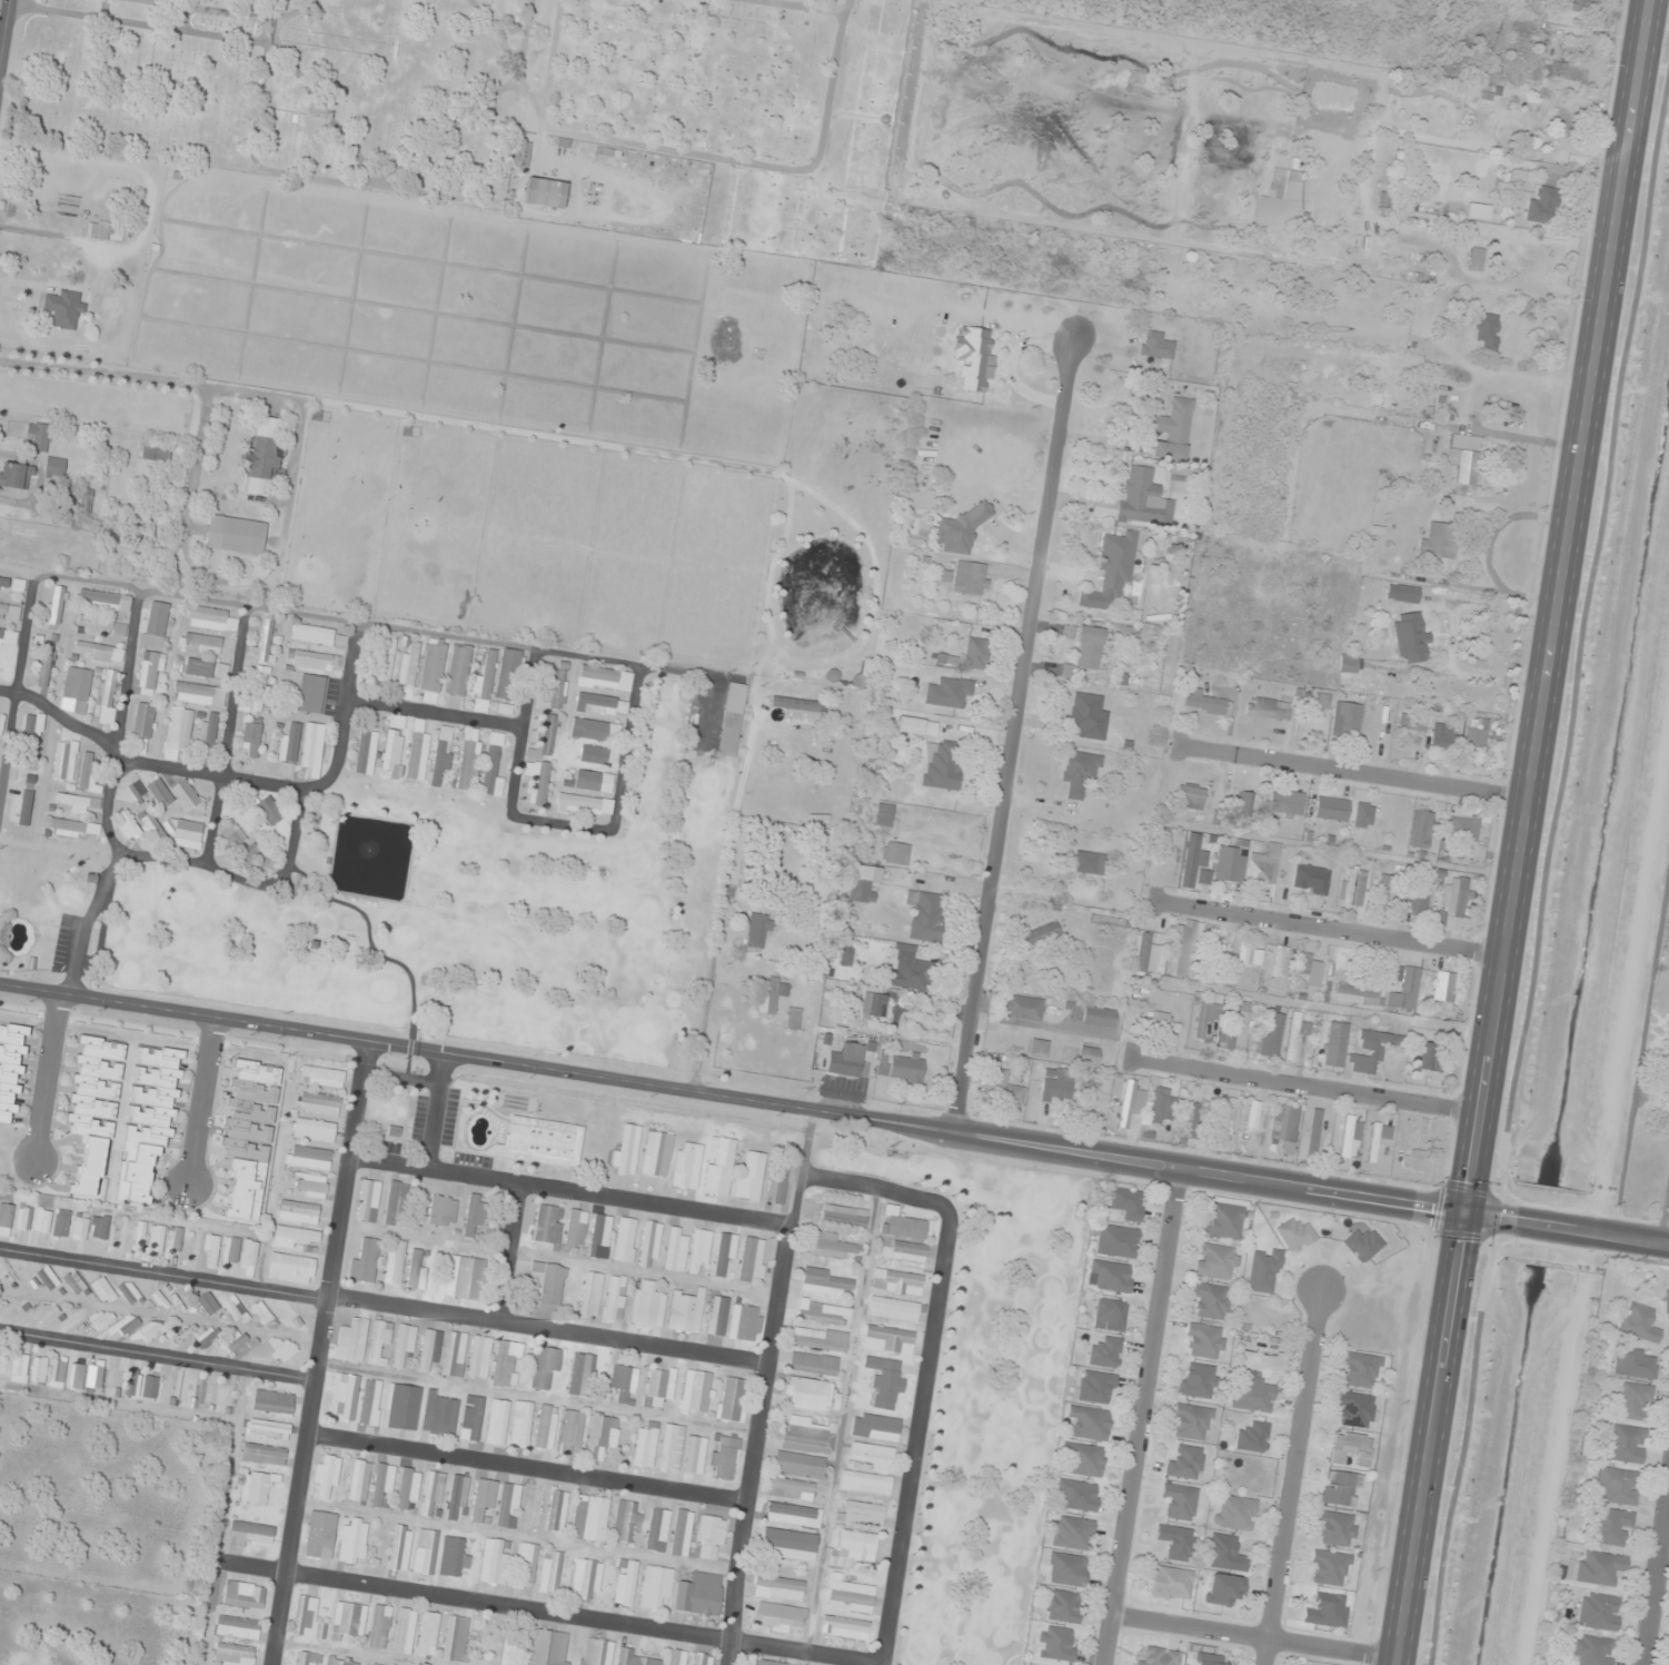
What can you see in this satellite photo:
building: (1582, 6)
road: (2, 17)
building: (1450, 69)
building: (1564, 71)
park: (497, 102)
building: (1276, 191)
building: (545, 194)
building: (1542, 206)
building: (1478, 211)
building: (97, 229)
building: (1476, 259)
building: (63, 309)
building: (1487, 331)
building: (1155, 345)
road: (1367, 418)
building: (1172, 430)
building: (40, 437)
building: (156, 452)
building: (262, 458)
building: (1463, 458)
building: (54, 467)
building: (16, 476)
building: (81, 499)
building: (1132, 501)
building: (961, 532)
building: (235, 536)
building: (1438, 544)
building: (1116, 564)
building: (970, 578)
building: (3, 584)
building: (1402, 593)
building: (109, 602)
building: (54, 605)
building: (9, 612)
building: (209, 618)
building: (155, 624)
building: (101, 626)
building: (1410, 634)
building: (312, 635)
building: (8, 637)
building: (202, 643)
building: (262, 644)
building: (1087, 646)
building: (98, 652)
building: (975, 653)
building: (385, 657)
building: (315, 661)
building: (44, 664)
building: (1348, 664)
building: (202, 668)
building: (408, 671)
building: (431, 672)
building: (150, 674)
building: (508, 675)
building: (457, 676)
building: (832, 676)
building: (604, 678)
building: (485, 681)
building: (77, 684)
building: (553, 690)
road: (22, 693)
building: (198, 694)
building: (257, 694)
building: (312, 694)
building: (948, 694)
building: (106, 697)
building: (1322, 701)
building: (1202, 702)
building: (600, 705)
building: (1266, 708)
building: (505, 710)
road: (365, 712)
building: (734, 712)
building: (1087, 716)
building: (1347, 718)
building: (1411, 721)
building: (142, 727)
building: (595, 731)
building: (178, 732)
building: (32, 733)
road: (1011, 733)
building: (544, 736)
building: (1442, 736)
building: (251, 737)
building: (1474, 737)
building: (206, 739)
building: (311, 749)
building: (391, 750)
building: (289, 752)
building: (366, 752)
building: (417, 753)
building: (598, 755)
road: (237, 756)
building: (441, 756)
road: (543, 757)
building: (873, 757)
building: (468, 760)
building: (63, 761)
building: (491, 766)
building: (1079, 771)
road: (1353, 772)
building: (87, 776)
road: (163, 779)
road: (441, 779)
building: (537, 781)
building: (594, 781)
road: (118, 793)
building: (131, 793)
building: (159, 793)
building: (186, 795)
building: (1189, 796)
building: (1286, 802)
building: (76, 803)
building: (584, 804)
building: (1245, 804)
building: (1331, 809)
building: (269, 811)
building: (884, 814)
building: (1362, 815)
building: (71, 827)
building: (140, 827)
building: (1462, 827)
building: (1420, 830)
road: (1521, 833)
building: (187, 834)
road: (660, 842)
building: (238, 845)
building: (895, 853)
building: (1192, 861)
building: (1089, 862)
building: (1230, 864)
building: (1264, 866)
building: (1310, 879)
road: (241, 882)
building: (861, 885)
building: (1353, 885)
building: (1385, 890)
building: (1420, 896)
building: (1458, 896)
park: (465, 913)
building: (925, 916)
road: (1329, 928)
building: (757, 931)
building: (1039, 935)
building: (1151, 943)
building: (1182, 948)
building: (1249, 954)
building: (1280, 961)
building: (908, 969)
building: (1311, 971)
building: (1443, 987)
building: (1405, 991)
building: (775, 992)
building: (1358, 993)
building: (872, 1004)
building: (1023, 1008)
building: (1097, 1017)
building: (1206, 1017)
building: (793, 1018)
building: (1164, 1024)
building: (1238, 1033)
building: (1272, 1034)
building: (1295, 1034)
building: (1335, 1044)
building: (1039, 1048)
road: (1640, 1050)
building: (1371, 1051)
building: (1089, 1056)
building: (1428, 1057)
building: (846, 1060)
building: (903, 1070)
road: (47, 1077)
building: (322, 1077)
building: (97, 1079)
road: (1307, 1082)
building: (1055, 1088)
building: (1006, 1090)
road: (754, 1099)
road: (203, 1101)
building: (1130, 1103)
building: (318, 1104)
building: (1160, 1106)
building: (1225, 1117)
building: (1188, 1120)
building: (1252, 1123)
building: (1285, 1126)
building: (314, 1130)
building: (1314, 1130)
building: (1351, 1133)
building: (1378, 1138)
building: (542, 1141)
building: (625, 1149)
building: (656, 1153)
building: (308, 1158)
building: (1412, 1160)
building: (686, 1166)
building: (718, 1166)
building: (749, 1175)
building: (779, 1178)
road: (867, 1185)
building: (310, 1186)
road: (567, 1189)
building: (368, 1201)
building: (396, 1203)
building: (1127, 1203)
building: (441, 1211)
road: (1663, 1212)
traffic signals: (1463, 1213)
building: (474, 1215)
building: (6, 1216)
building: (844, 1216)
building: (23, 1217)
building: (42, 1221)
building: (1222, 1221)
building: (61, 1223)
building: (904, 1226)
building: (99, 1228)
building: (547, 1228)
building: (80, 1229)
building: (576, 1229)
road: (1589, 1232)
building: (1294, 1235)
building: (296, 1237)
building: (599, 1237)
building: (140, 1238)
building: (156, 1238)
building: (173, 1240)
building: (625, 1240)
building: (1117, 1241)
building: (649, 1242)
building: (1362, 1245)
building: (833, 1246)
building: (676, 1249)
building: (210, 1250)
building: (230, 1250)
road: (508, 1250)
building: (699, 1251)
building: (724, 1255)
building: (907, 1255)
building: (248, 1257)
building: (366, 1260)
building: (752, 1260)
building: (1216, 1261)
building: (395, 1262)
building: (291, 1268)
building: (416, 1269)
building: (1263, 1270)
building: (465, 1277)
building: (1110, 1277)
building: (47, 1278)
building: (547, 1282)
building: (825, 1282)
building: (898, 1284)
building: (102, 1290)
building: (129, 1292)
building: (592, 1294)
building: (615, 1298)
building: (1210, 1300)
road: (383, 1302)
building: (207, 1304)
building: (647, 1305)
building: (1667, 1305)
building: (234, 1308)
building: (893, 1309)
building: (686, 1311)
building: (261, 1312)
building: (823, 1314)
building: (1112, 1314)
building: (287, 1316)
building: (717, 1316)
building: (103, 1319)
building: (745, 1322)
building: (1639, 1322)
building: (127, 1324)
building: (150, 1331)
building: (185, 1334)
building: (818, 1339)
building: (235, 1340)
building: (888, 1340)
building: (351, 1341)
building: (1204, 1341)
building: (379, 1344)
building: (275, 1349)
building: (429, 1349)
road: (157, 1351)
road: (317, 1352)
building: (1105, 1354)
building: (454, 1355)
building: (479, 1357)
building: (506, 1364)
building: (813, 1364)
building: (1636, 1364)
building: (19, 1368)
building: (545, 1368)
building: (39, 1370)
building: (1360, 1370)
building: (57, 1374)
building: (85, 1377)
building: (1198, 1380)
building: (130, 1382)
building: (885, 1382)
building: (624, 1384)
road: (763, 1385)
building: (149, 1386)
building: (658, 1386)
building: (1096, 1387)
building: (695, 1393)
park: (984, 1393)
building: (807, 1394)
building: (1252, 1394)
building: (345, 1396)
building: (221, 1397)
building: (732, 1399)
building: (369, 1401)
building: (1635, 1401)
building: (272, 1403)
building: (401, 1407)
building: (1354, 1409)
building: (438, 1415)
road: (1143, 1416)
building: (471, 1418)
building: (497, 1421)
building: (1192, 1421)
building: (1087, 1423)
building: (520, 1424)
road: (840, 1426)
building: (546, 1427)
building: (875, 1427)
road: (916, 1427)
building: (268, 1429)
building: (570, 1434)
building: (602, 1436)
building: (807, 1436)
building: (1253, 1437)
building: (1627, 1444)
building: (646, 1445)
building: (670, 1448)
building: (1351, 1449)
building: (264, 1454)
building: (695, 1455)
building: (872, 1456)
building: (725, 1457)
building: (1082, 1459)
building: (1185, 1463)
building: (799, 1464)
road: (527, 1466)
building: (326, 1477)
road: (1292, 1477)
building: (359, 1480)
building: (383, 1483)
building: (865, 1483)
building: (1619, 1486)
building: (256, 1487)
building: (408, 1487)
building: (791, 1488)
building: (1341, 1488)
building: (433, 1491)
building: (1079, 1495)
building: (457, 1498)
building: (483, 1498)
building: (1180, 1502)
building: (508, 1504)
building: (528, 1508)
building: (557, 1512)
building: (1235, 1513)
building: (862, 1514)
building: (793, 1515)
building: (589, 1518)
building: (627, 1522)
building: (1611, 1527)
building: (1335, 1529)
building: (657, 1530)
building: (682, 1533)
building: (1071, 1533)
building: (251, 1534)
building: (320, 1535)
building: (711, 1537)
building: (1176, 1542)
building: (354, 1543)
building: (787, 1544)
building: (400, 1548)
road: (1662, 1548)
building: (854, 1549)
building: (425, 1553)
building: (1224, 1553)
building: (454, 1557)
building: (494, 1562)
road: (256, 1566)
building: (526, 1566)
building: (1329, 1568)
building: (1600, 1568)
building: (1066, 1569)
building: (549, 1572)
road: (1653, 1574)
building: (587, 1579)
building: (626, 1583)
building: (1171, 1583)
building: (778, 1586)
building: (656, 1587)
building: (1223, 1588)
building: (699, 1594)
building: (244, 1595)
building: (851, 1596)
building: (1063, 1606)
building: (1327, 1611)
building: (1599, 1612)
road: (583, 1615)
building: (778, 1617)
building: (307, 1618)
building: (348, 1621)
building: (237, 1627)
building: (379, 1627)
building: (845, 1627)
building: (405, 1631)
building: (428, 1634)
road: (1246, 1636)
building: (455, 1639)
building: (1056, 1644)
building: (545, 1648)
building: (1593, 1651)
building: (596, 1652)
building: (235, 1654)
building: (1156, 1656)
building: (676, 1657)
building: (307, 1658)
building: (632, 1658)
building: (704, 1659)
building: (1209, 1659)
building: (340, 1661)
building: (771, 1663)
building: (367, 1664)

